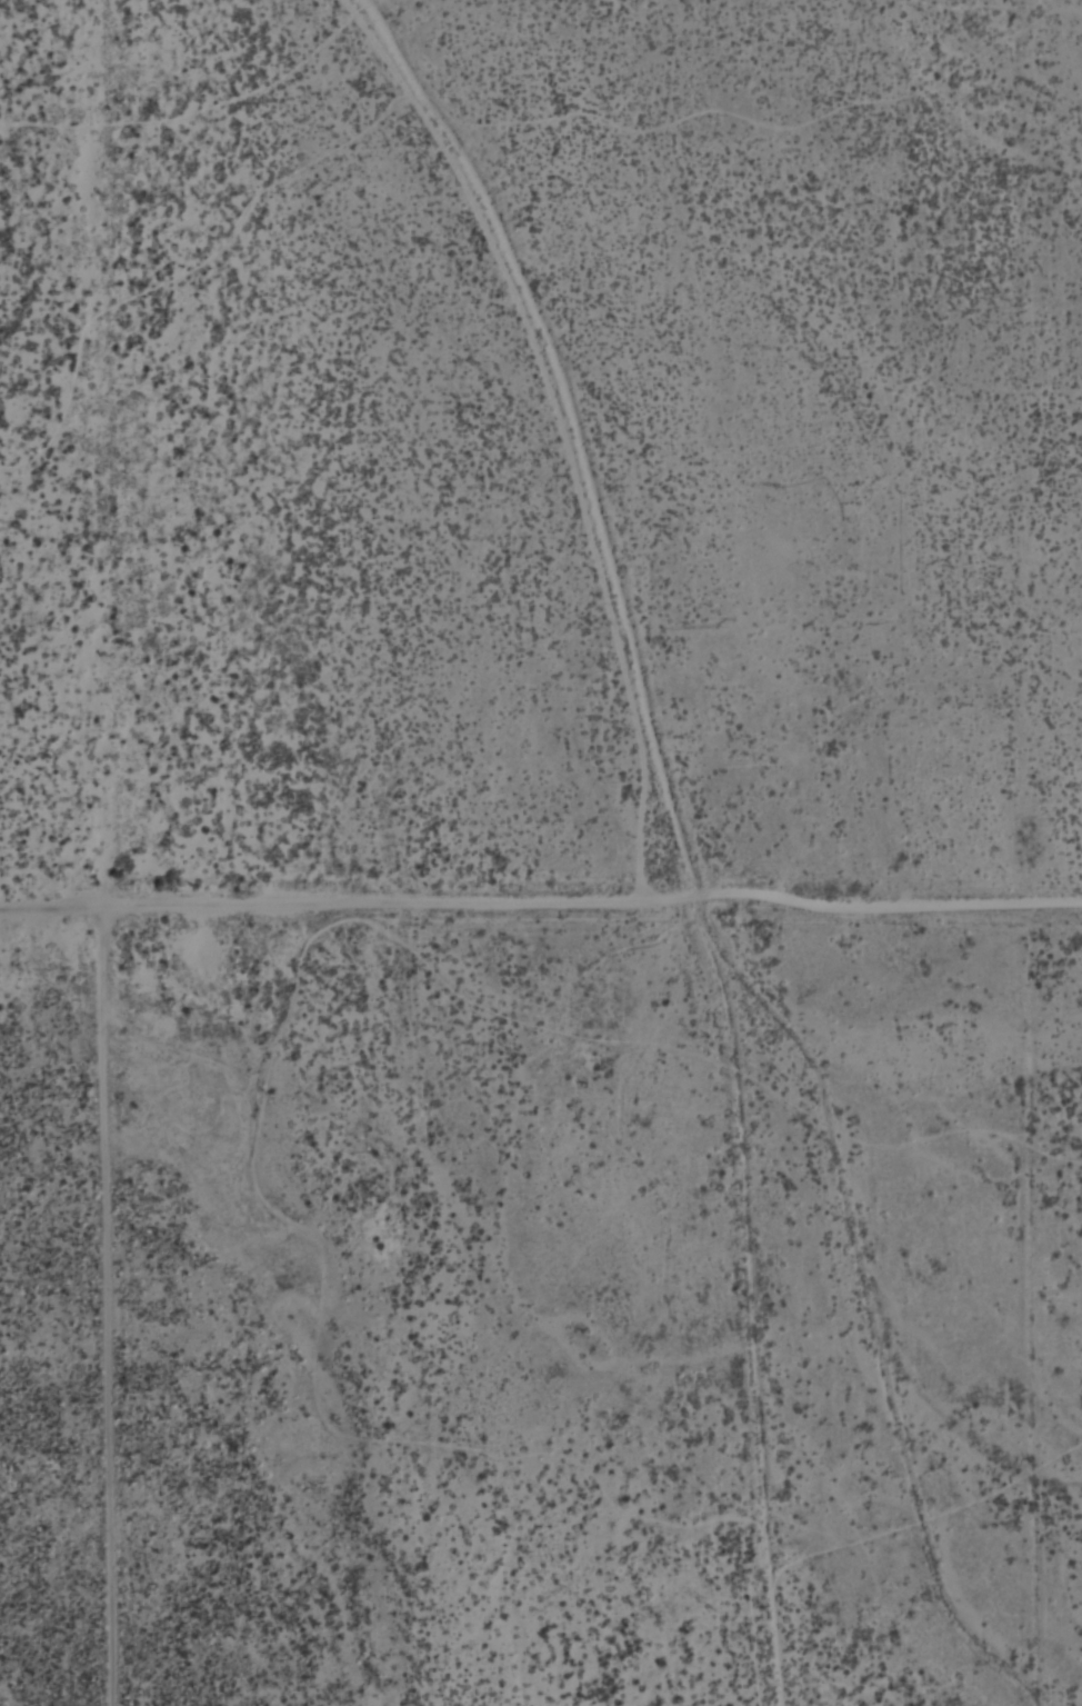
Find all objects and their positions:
road: (569, 425)
road: (540, 899)
road: (116, 1305)

